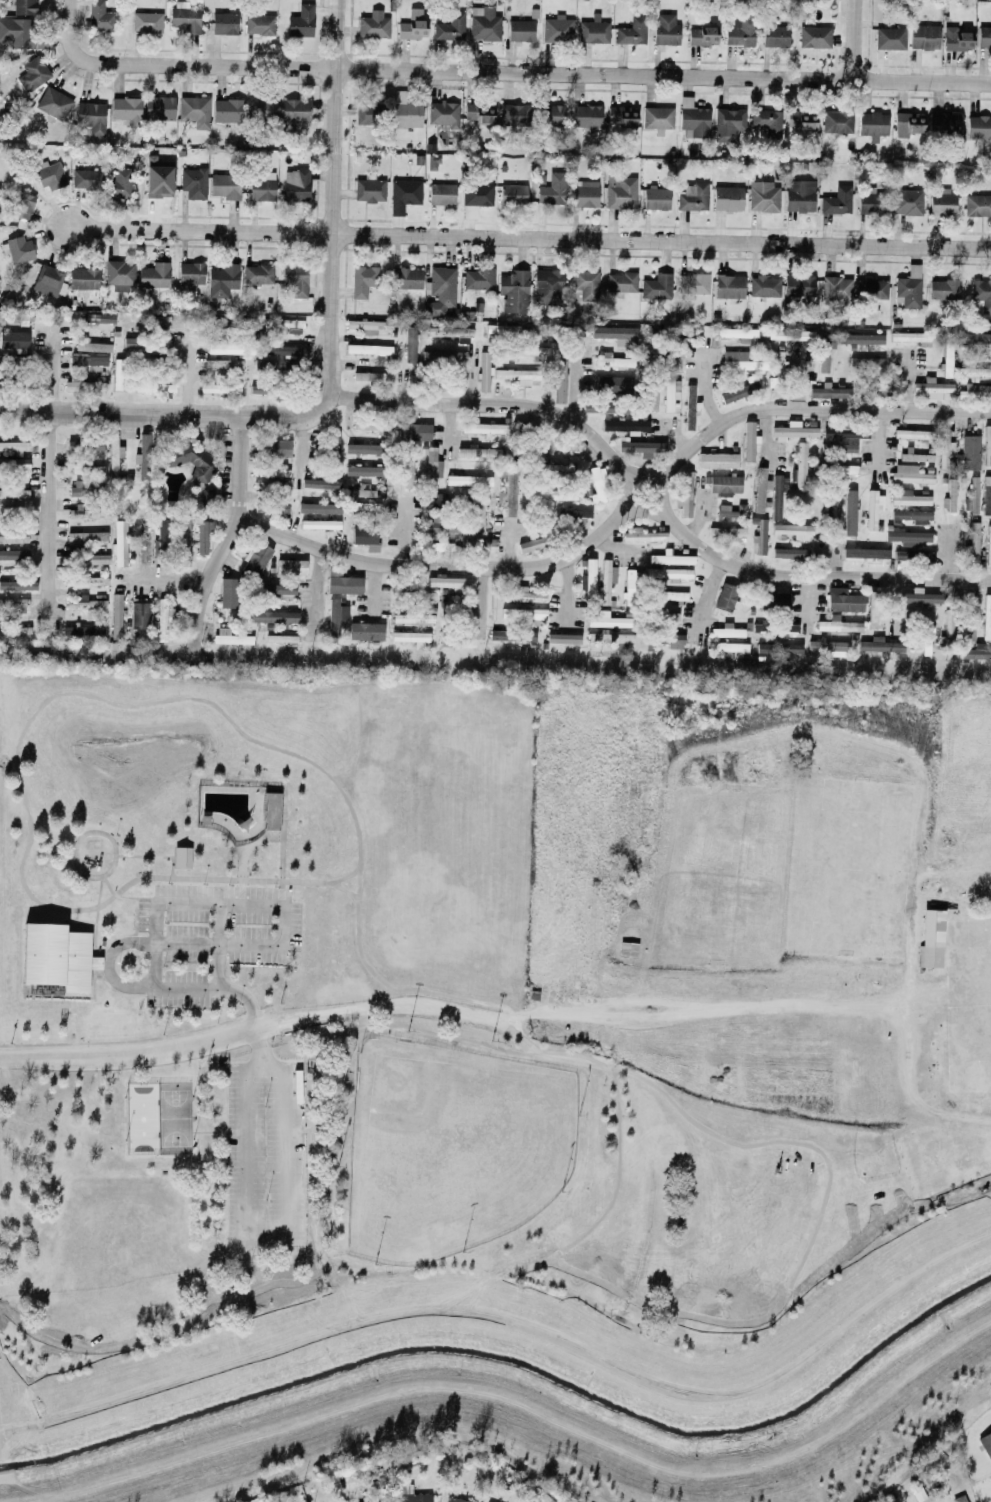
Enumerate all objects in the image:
building: (23, 7)
building: (100, 17)
building: (184, 18)
building: (146, 22)
building: (301, 22)
building: (224, 23)
building: (259, 24)
building: (483, 24)
building: (373, 25)
building: (413, 26)
building: (450, 28)
building: (557, 29)
building: (666, 30)
building: (520, 31)
building: (594, 31)
building: (16, 32)
building: (631, 32)
building: (740, 32)
building: (702, 36)
building: (775, 37)
building: (814, 37)
building: (923, 37)
building: (984, 37)
building: (889, 39)
building: (956, 39)
road: (848, 40)
road: (501, 73)
building: (32, 74)
building: (53, 103)
building: (159, 107)
building: (261, 108)
building: (126, 109)
building: (227, 110)
building: (194, 111)
building: (294, 112)
building: (368, 112)
building: (442, 114)
building: (479, 114)
building: (554, 114)
building: (407, 115)
building: (513, 115)
building: (90, 116)
building: (585, 117)
building: (620, 118)
building: (657, 118)
building: (693, 119)
building: (800, 121)
building: (767, 122)
building: (836, 122)
building: (728, 124)
building: (873, 124)
building: (908, 124)
building: (944, 124)
building: (977, 127)
building: (50, 175)
building: (158, 178)
building: (86, 179)
building: (120, 182)
building: (193, 183)
building: (296, 185)
building: (224, 186)
building: (261, 190)
building: (369, 190)
building: (552, 190)
building: (620, 193)
building: (441, 194)
building: (584, 194)
building: (403, 195)
building: (477, 195)
building: (799, 196)
building: (763, 197)
building: (655, 198)
building: (692, 198)
building: (727, 198)
road: (330, 200)
building: (836, 201)
building: (867, 202)
building: (907, 202)
building: (942, 203)
building: (23, 205)
building: (977, 205)
road: (528, 238)
building: (19, 249)
building: (191, 273)
building: (257, 274)
building: (118, 275)
building: (154, 275)
building: (295, 279)
building: (478, 279)
building: (49, 280)
building: (83, 280)
building: (222, 280)
building: (362, 280)
building: (621, 283)
building: (586, 284)
building: (693, 284)
building: (729, 286)
building: (764, 286)
building: (799, 286)
building: (547, 287)
building: (656, 287)
building: (909, 288)
building: (836, 289)
building: (871, 289)
building: (514, 290)
building: (943, 290)
building: (440, 291)
building: (981, 294)
building: (104, 319)
building: (160, 320)
building: (368, 326)
building: (450, 333)
building: (615, 334)
building: (739, 335)
building: (790, 335)
building: (911, 338)
building: (974, 338)
building: (14, 339)
building: (860, 339)
building: (131, 342)
building: (410, 344)
building: (83, 346)
building: (224, 347)
building: (368, 349)
building: (533, 350)
building: (824, 350)
building: (282, 351)
building: (443, 357)
building: (946, 357)
building: (87, 359)
building: (603, 359)
building: (150, 362)
building: (740, 362)
building: (865, 363)
building: (223, 365)
building: (277, 366)
building: (92, 368)
building: (483, 371)
road: (49, 373)
road: (188, 373)
building: (777, 373)
building: (974, 373)
building: (117, 374)
building: (372, 376)
building: (559, 382)
road: (904, 382)
building: (82, 384)
road: (573, 386)
road: (704, 387)
building: (147, 388)
building: (219, 388)
building: (932, 389)
building: (257, 390)
building: (741, 391)
building: (669, 392)
building: (829, 392)
building: (975, 394)
building: (689, 407)
road: (167, 416)
building: (370, 425)
building: (624, 425)
building: (483, 428)
building: (517, 428)
building: (794, 430)
building: (416, 432)
building: (845, 432)
building: (913, 434)
road: (676, 436)
building: (749, 442)
building: (10, 445)
building: (280, 445)
building: (987, 445)
building: (333, 447)
building: (641, 447)
building: (362, 449)
building: (944, 449)
building: (557, 450)
building: (838, 451)
building: (478, 452)
building: (970, 452)
building: (113, 455)
building: (143, 456)
building: (915, 457)
building: (717, 460)
building: (193, 461)
building: (13, 463)
building: (431, 466)
building: (800, 466)
building: (86, 467)
building: (555, 468)
building: (847, 469)
building: (363, 471)
building: (278, 473)
building: (407, 473)
building: (909, 474)
road: (296, 479)
building: (468, 481)
building: (332, 485)
building: (268, 486)
building: (597, 486)
building: (78, 488)
road: (647, 488)
building: (760, 489)
building: (366, 491)
road: (661, 491)
building: (13, 493)
building: (552, 493)
building: (684, 493)
building: (777, 494)
building: (509, 495)
building: (986, 495)
building: (949, 496)
building: (972, 497)
building: (908, 498)
building: (366, 506)
building: (332, 508)
building: (873, 508)
road: (46, 510)
building: (833, 510)
building: (11, 511)
building: (81, 511)
building: (731, 511)
building: (849, 513)
building: (478, 515)
building: (911, 517)
building: (319, 524)
building: (794, 531)
building: (725, 533)
building: (86, 536)
building: (202, 536)
building: (364, 536)
building: (643, 536)
building: (760, 536)
building: (13, 537)
building: (907, 537)
building: (163, 539)
building: (144, 540)
building: (183, 543)
building: (119, 544)
building: (489, 545)
building: (532, 545)
building: (973, 545)
building: (988, 546)
building: (434, 548)
building: (790, 553)
building: (865, 553)
building: (13, 554)
building: (911, 555)
building: (256, 558)
road: (570, 558)
building: (94, 559)
building: (670, 559)
building: (291, 568)
building: (668, 573)
building: (590, 578)
road: (206, 579)
building: (91, 580)
building: (449, 582)
building: (17, 584)
road: (168, 584)
building: (344, 585)
road: (371, 587)
building: (631, 588)
building: (276, 589)
road: (318, 592)
building: (228, 593)
building: (673, 596)
building: (725, 597)
building: (921, 597)
building: (778, 600)
building: (843, 601)
building: (13, 602)
building: (83, 603)
building: (872, 606)
building: (139, 615)
building: (115, 616)
building: (523, 616)
building: (669, 616)
building: (274, 617)
building: (336, 617)
building: (986, 617)
building: (162, 619)
building: (609, 621)
building: (445, 624)
building: (835, 625)
building: (82, 631)
building: (365, 631)
building: (727, 631)
building: (968, 631)
building: (512, 636)
building: (230, 637)
building: (281, 638)
building: (410, 638)
building: (563, 638)
building: (610, 639)
building: (675, 641)
building: (879, 645)
building: (829, 647)
building: (729, 649)
building: (791, 649)
building: (975, 653)
road: (137, 706)
building: (271, 811)
road: (85, 833)
road: (281, 845)
road: (151, 856)
building: (182, 857)
road: (340, 877)
road: (340, 888)
road: (96, 905)
road: (248, 905)
building: (931, 939)
road: (176, 943)
building: (56, 956)
road: (214, 990)
road: (242, 997)
road: (392, 1006)
road: (715, 1012)
park: (337, 1034)
road: (261, 1048)
road: (129, 1053)
road: (546, 1053)
road: (264, 1075)
park: (155, 1119)
road: (213, 1131)
road: (780, 1142)
park: (450, 1148)
road: (290, 1153)
parking lot: (263, 1154)
road: (265, 1155)
road: (239, 1156)
park: (925, 1170)
road: (310, 1174)
road: (265, 1236)
road: (246, 1264)
road: (517, 1269)
road: (179, 1327)
river: (516, 1365)
road: (1, 1427)
building: (986, 1444)
building: (411, 1495)
building: (959, 1499)
building: (455, 1500)
building: (379, 1501)
building: (484, 1501)

